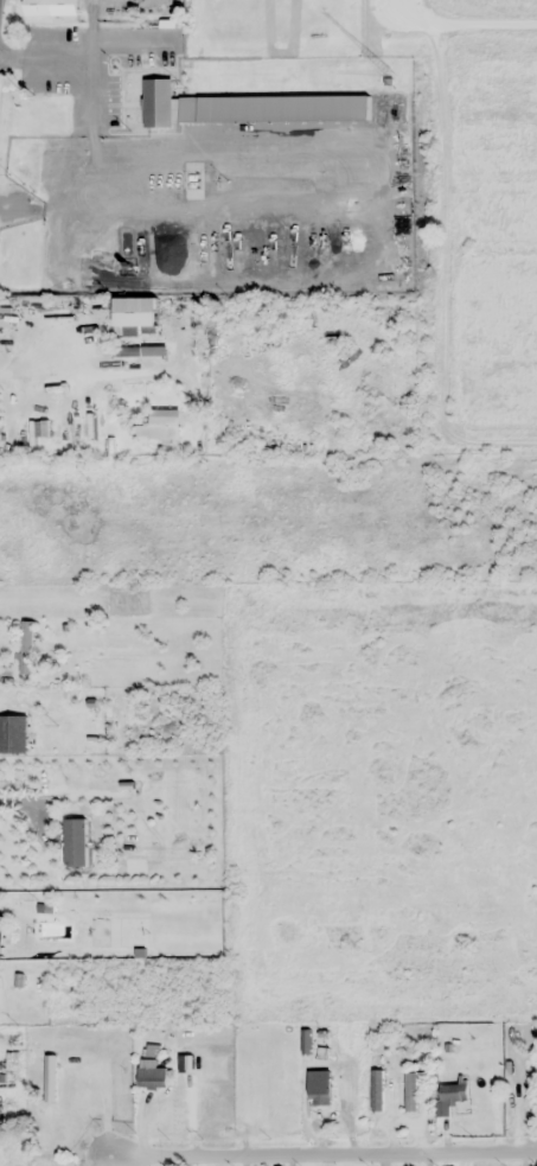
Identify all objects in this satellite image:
building: (51, 7)
building: (274, 108)
building: (55, 113)
building: (135, 313)
building: (159, 426)
building: (128, 600)
building: (26, 646)
building: (13, 735)
building: (82, 786)
building: (0, 938)
building: (152, 1076)
building: (50, 1078)
building: (114, 1079)
building: (427, 1088)
building: (319, 1094)
building: (450, 1096)

